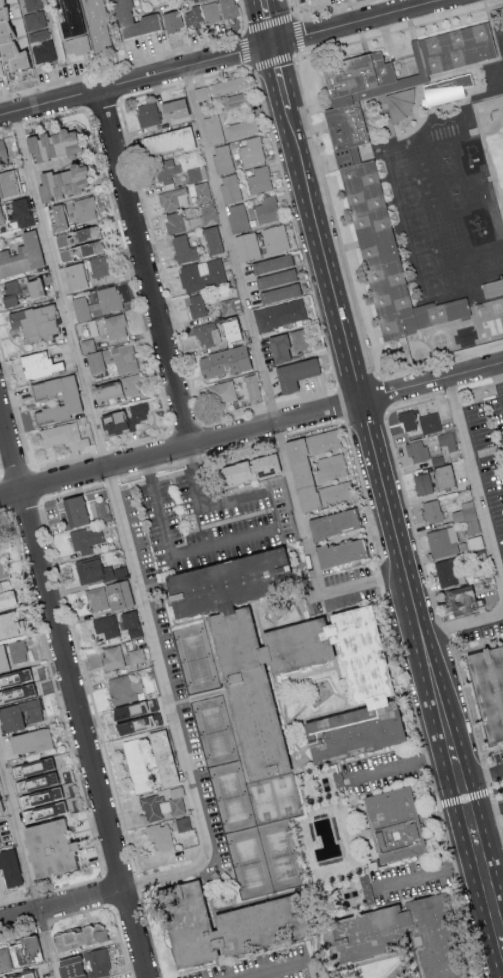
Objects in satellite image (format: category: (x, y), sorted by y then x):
building: (32, 4)
building: (228, 8)
building: (211, 11)
road: (243, 15)
building: (192, 16)
building: (69, 18)
building: (33, 19)
building: (171, 19)
building: (132, 20)
road: (266, 22)
building: (99, 25)
building: (37, 34)
building: (77, 44)
traffic signals: (272, 45)
building: (9, 46)
road: (246, 50)
building: (43, 51)
road: (223, 57)
road: (122, 64)
building: (1, 72)
road: (220, 73)
road: (280, 77)
road: (187, 80)
building: (227, 85)
road: (150, 91)
building: (447, 94)
road: (103, 104)
building: (400, 106)
building: (173, 108)
building: (147, 113)
road: (55, 116)
road: (18, 125)
road: (6, 128)
building: (241, 128)
building: (213, 129)
building: (167, 140)
building: (63, 141)
park: (492, 142)
building: (38, 146)
building: (251, 150)
building: (2, 151)
building: (222, 158)
building: (164, 169)
building: (196, 174)
building: (259, 179)
building: (61, 181)
building: (7, 182)
building: (230, 187)
building: (200, 190)
building: (361, 196)
building: (173, 198)
road: (218, 203)
building: (83, 208)
building: (267, 209)
building: (21, 210)
building: (55, 216)
building: (237, 217)
building: (1, 218)
building: (174, 221)
road: (295, 227)
building: (275, 238)
building: (211, 239)
building: (77, 242)
building: (246, 245)
building: (184, 249)
building: (22, 254)
road: (160, 262)
building: (271, 263)
building: (99, 265)
road: (145, 266)
road: (128, 270)
building: (201, 274)
building: (461, 274)
building: (74, 275)
building: (276, 277)
building: (492, 286)
building: (280, 292)
building: (108, 299)
building: (195, 305)
building: (228, 306)
building: (81, 308)
building: (279, 314)
building: (31, 322)
building: (115, 325)
building: (494, 325)
building: (229, 327)
building: (206, 333)
building: (298, 339)
building: (87, 345)
building: (278, 347)
road: (257, 354)
building: (121, 357)
building: (93, 361)
building: (223, 361)
building: (37, 364)
building: (294, 373)
road: (499, 382)
building: (132, 383)
building: (252, 388)
building: (105, 391)
building: (222, 391)
road: (268, 395)
road: (306, 396)
building: (69, 400)
road: (16, 405)
road: (271, 405)
road: (340, 405)
road: (233, 415)
building: (122, 418)
road: (367, 419)
building: (406, 419)
building: (429, 422)
road: (185, 428)
road: (251, 428)
road: (315, 429)
building: (62, 435)
road: (280, 438)
road: (139, 440)
building: (322, 440)
building: (446, 440)
road: (100, 449)
building: (416, 450)
road: (63, 459)
road: (195, 459)
building: (329, 466)
building: (248, 468)
road: (16, 471)
road: (0, 474)
building: (299, 474)
road: (0, 476)
building: (442, 476)
road: (475, 481)
road: (110, 482)
building: (422, 483)
road: (36, 484)
road: (74, 492)
building: (335, 492)
road: (4, 493)
road: (365, 497)
road: (43, 500)
road: (24, 505)
road: (199, 507)
building: (73, 510)
building: (98, 510)
building: (431, 510)
road: (1, 511)
road: (9, 511)
building: (467, 516)
building: (331, 522)
road: (122, 527)
building: (85, 539)
building: (442, 542)
building: (474, 542)
road: (309, 549)
building: (338, 552)
road: (172, 556)
building: (2, 566)
building: (96, 571)
building: (445, 572)
road: (379, 579)
building: (108, 596)
building: (457, 599)
building: (130, 622)
building: (9, 623)
road: (464, 624)
building: (104, 626)
building: (271, 648)
building: (17, 650)
building: (136, 655)
building: (112, 656)
building: (3, 659)
park: (196, 659)
building: (15, 686)
road: (88, 687)
building: (123, 688)
building: (488, 689)
road: (73, 692)
road: (410, 696)
building: (19, 715)
road: (65, 729)
park: (214, 731)
building: (360, 733)
building: (27, 741)
building: (161, 757)
road: (401, 764)
building: (136, 765)
building: (34, 766)
road: (482, 778)
building: (39, 796)
park: (286, 796)
park: (231, 797)
road: (464, 799)
park: (262, 802)
building: (0, 810)
road: (486, 812)
building: (182, 823)
building: (399, 824)
building: (160, 836)
road: (475, 836)
building: (46, 848)
park: (281, 855)
park: (249, 864)
building: (9, 868)
road: (28, 870)
road: (428, 875)
road: (138, 883)
building: (364, 884)
road: (107, 891)
road: (461, 892)
road: (34, 896)
road: (14, 901)
road: (62, 905)
road: (112, 910)
building: (203, 924)
road: (43, 926)
road: (19, 933)
road: (149, 934)
building: (401, 934)
building: (77, 937)
building: (20, 952)
building: (83, 965)
road: (271, 972)
building: (18, 976)

